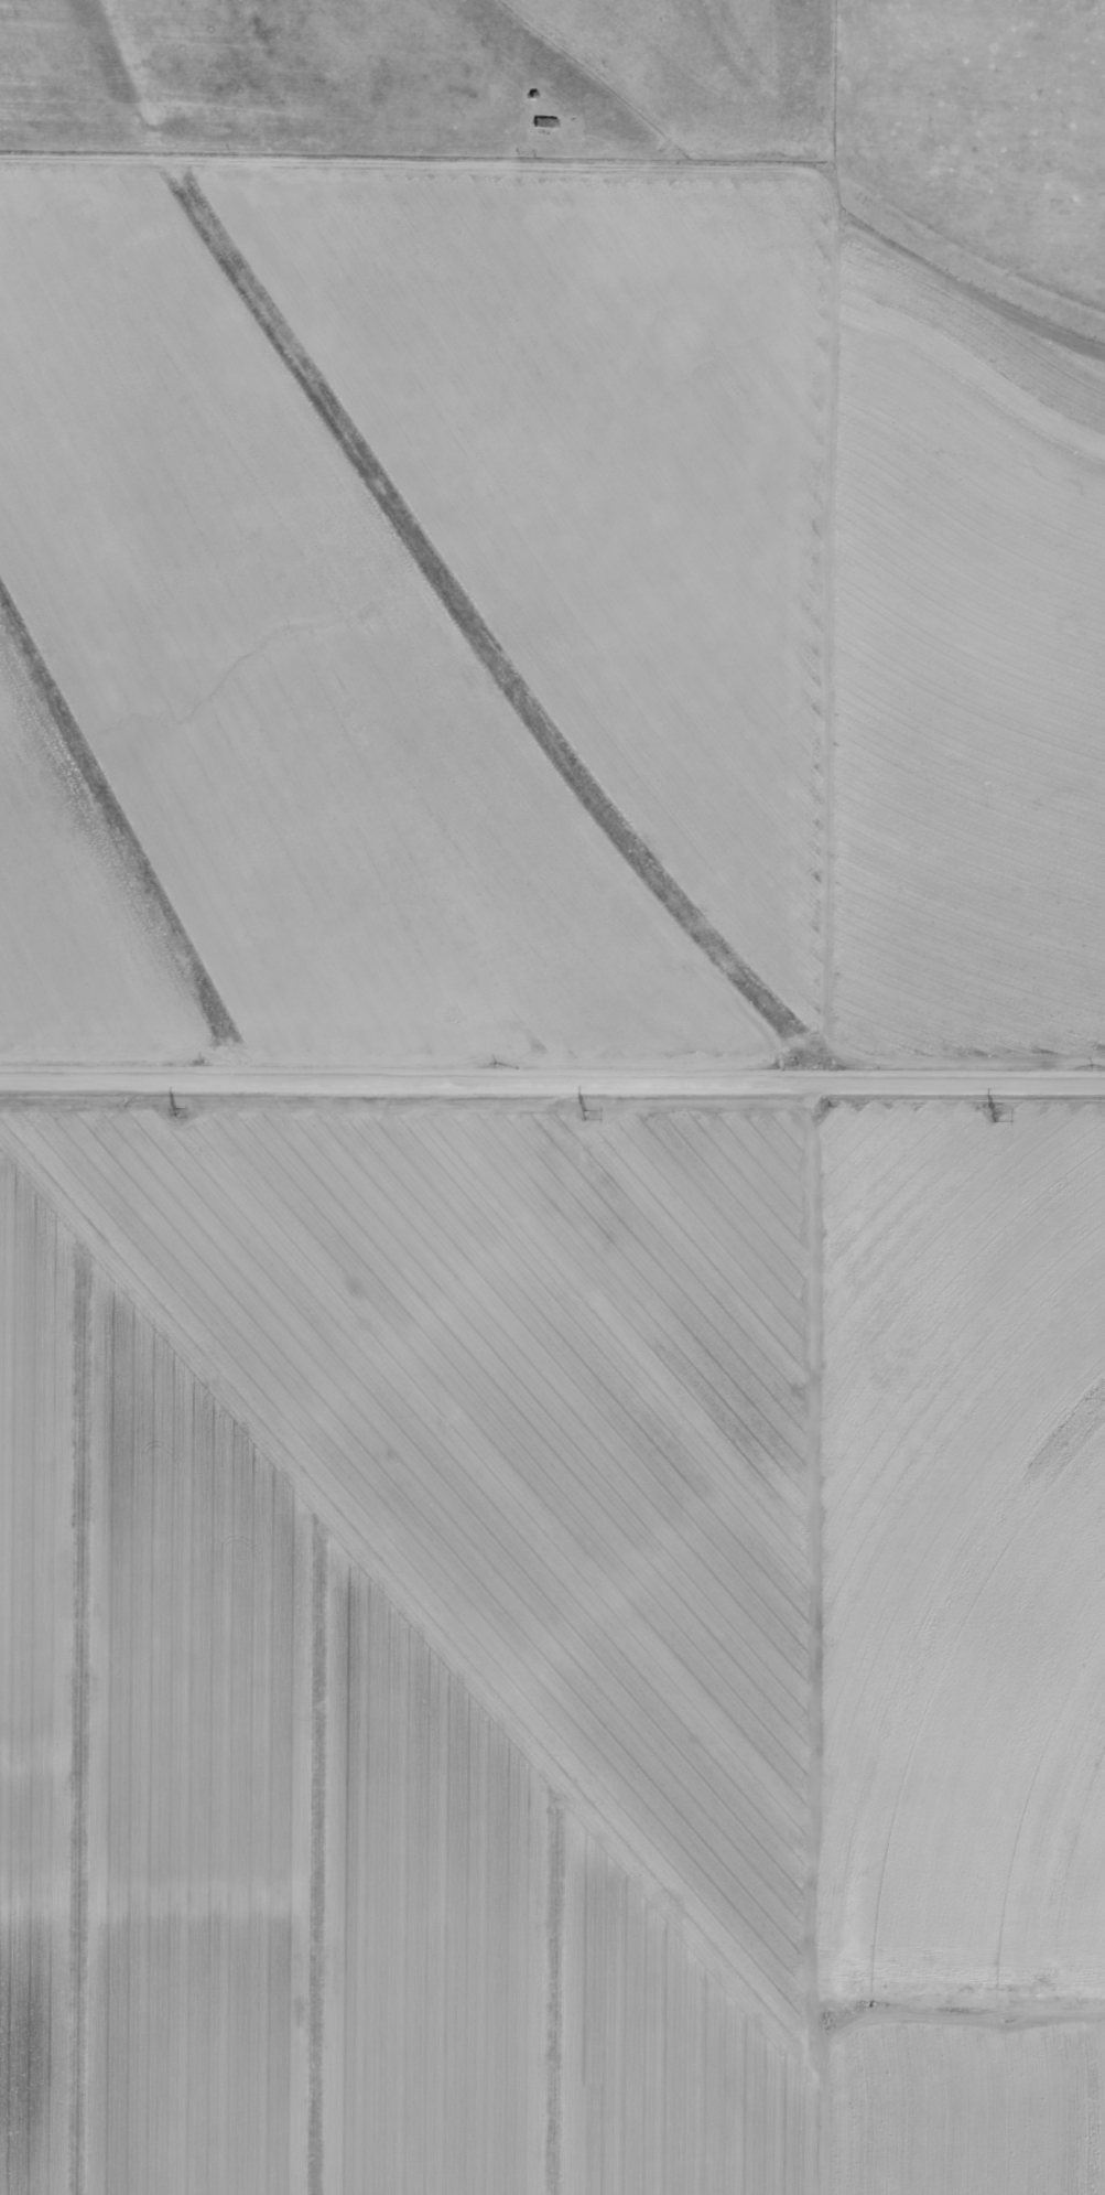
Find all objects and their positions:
road: (552, 1082)
power tower: (165, 1112)
power tower: (987, 1115)
power tower: (581, 1118)

